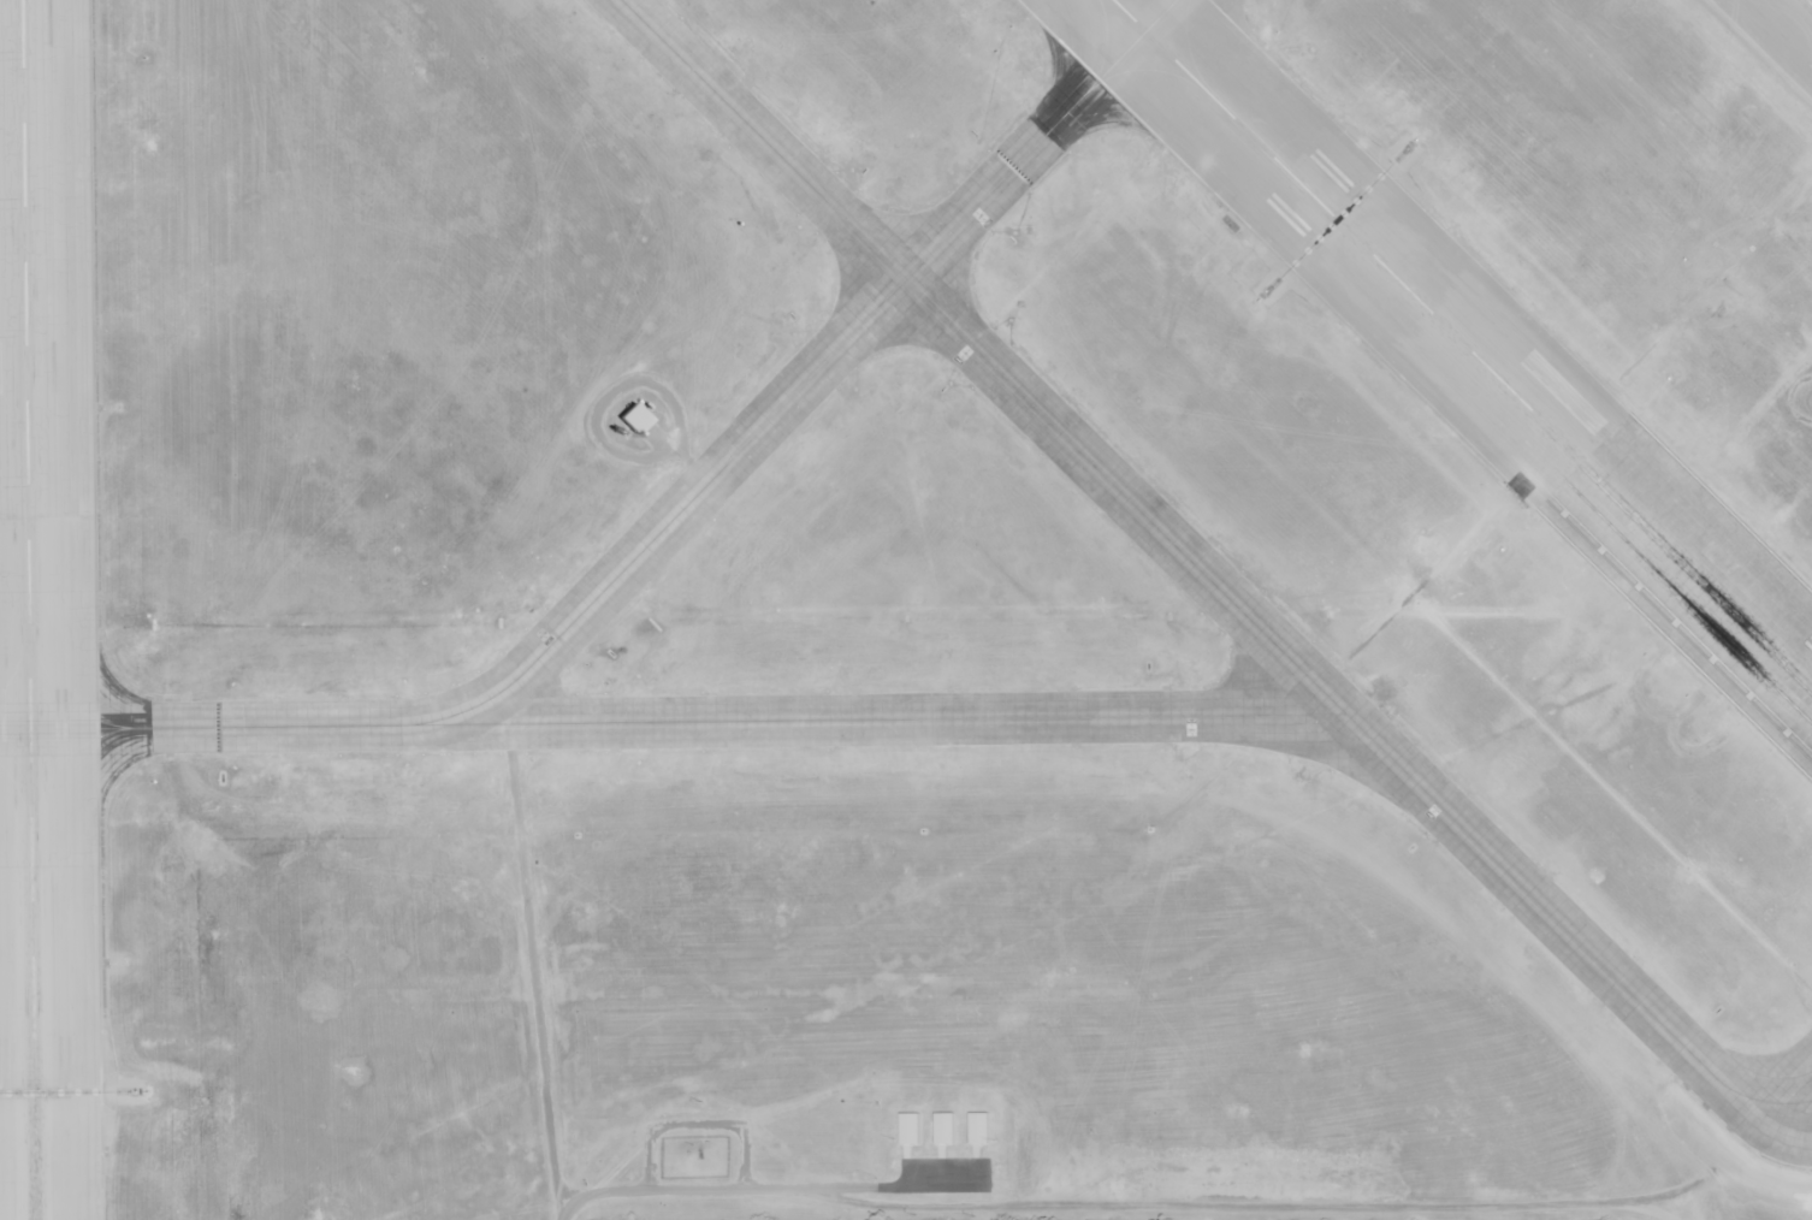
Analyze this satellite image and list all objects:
airport runway: (1808, 2)
airport runway: (1463, 342)
airport taxiway: (804, 384)
building: (634, 417)
airport: (917, 456)
airport taxiway: (1195, 565)
airport runway: (26, 610)
airport taxiway: (673, 721)
airport taxiway: (1800, 1102)
road: (741, 1185)

